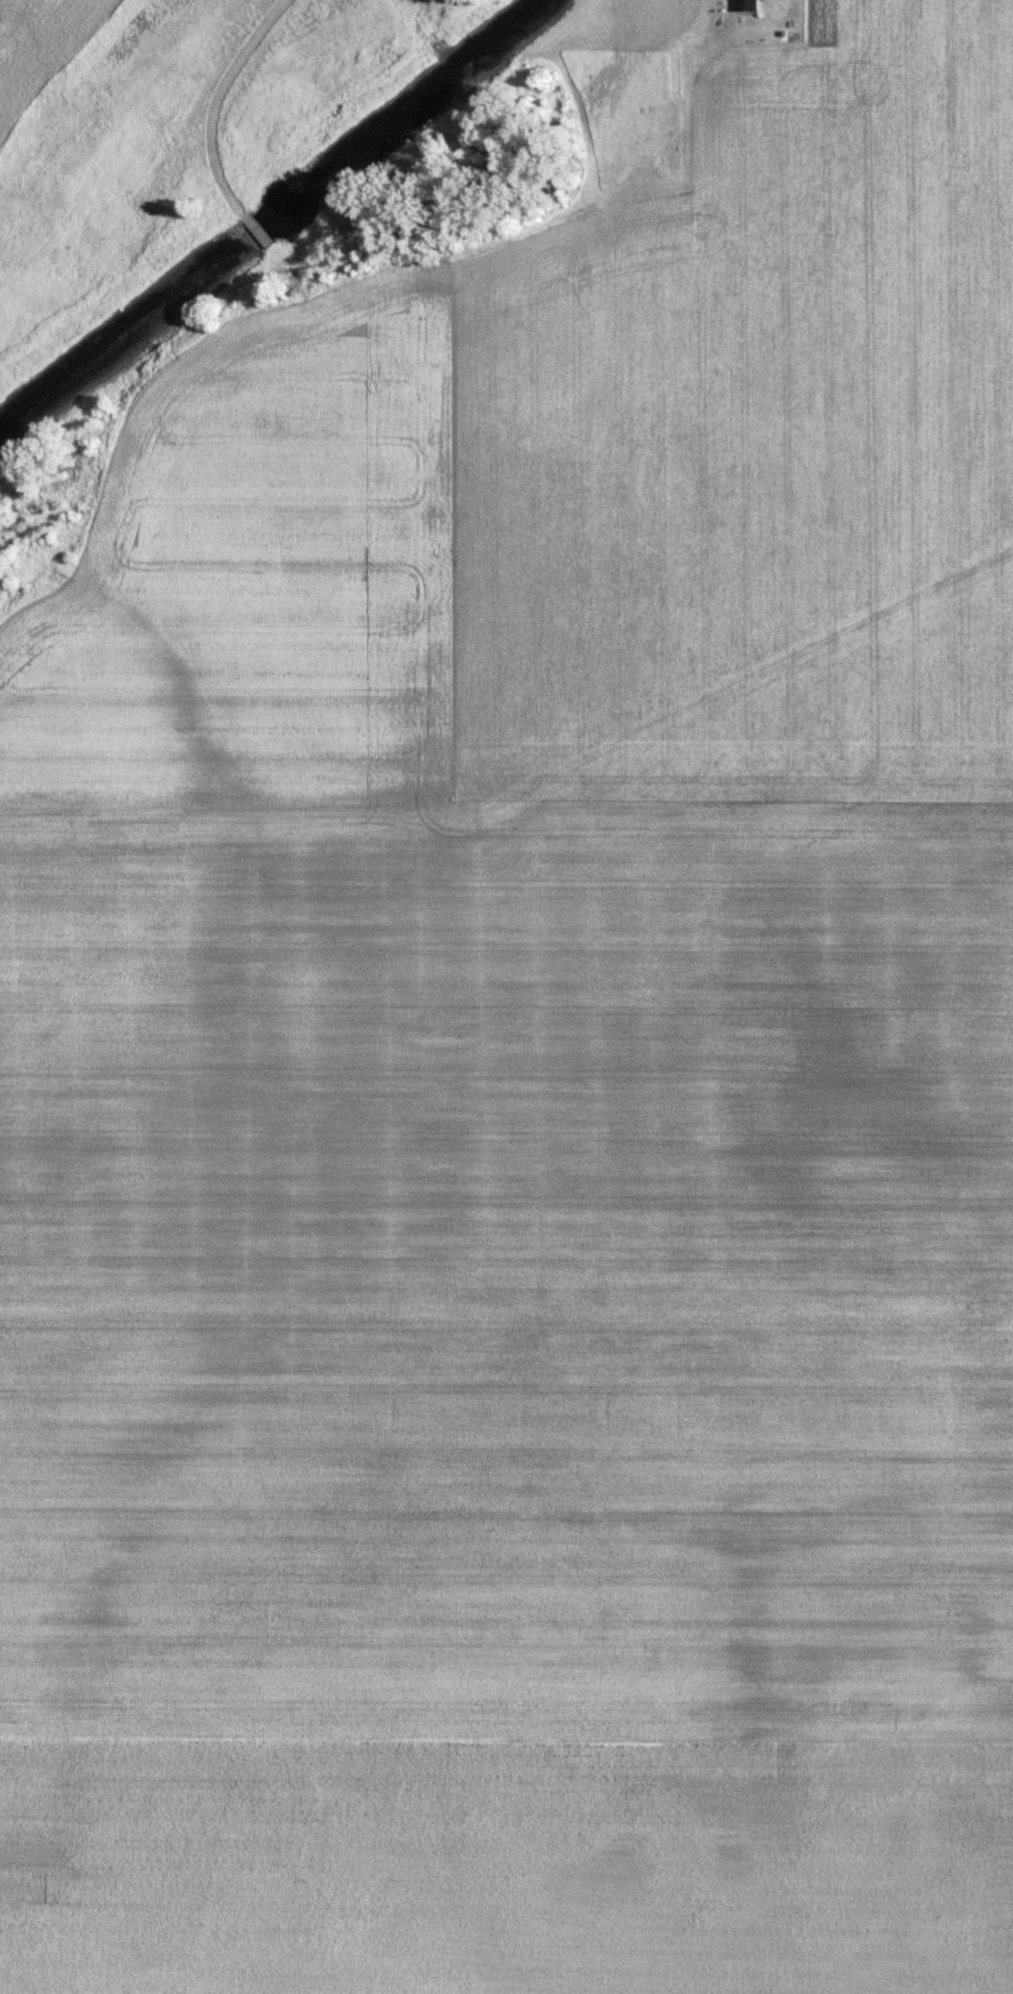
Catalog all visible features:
river: (271, 214)

